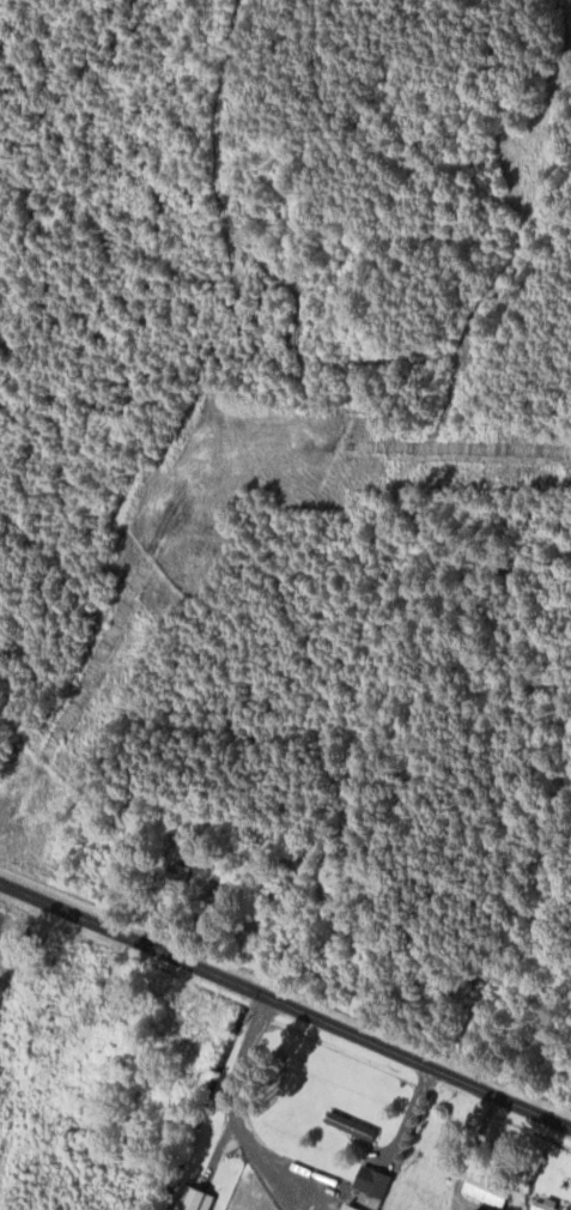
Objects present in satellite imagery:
road: (286, 999)
building: (364, 1187)
building: (481, 1187)
building: (192, 1198)
building: (541, 1203)

